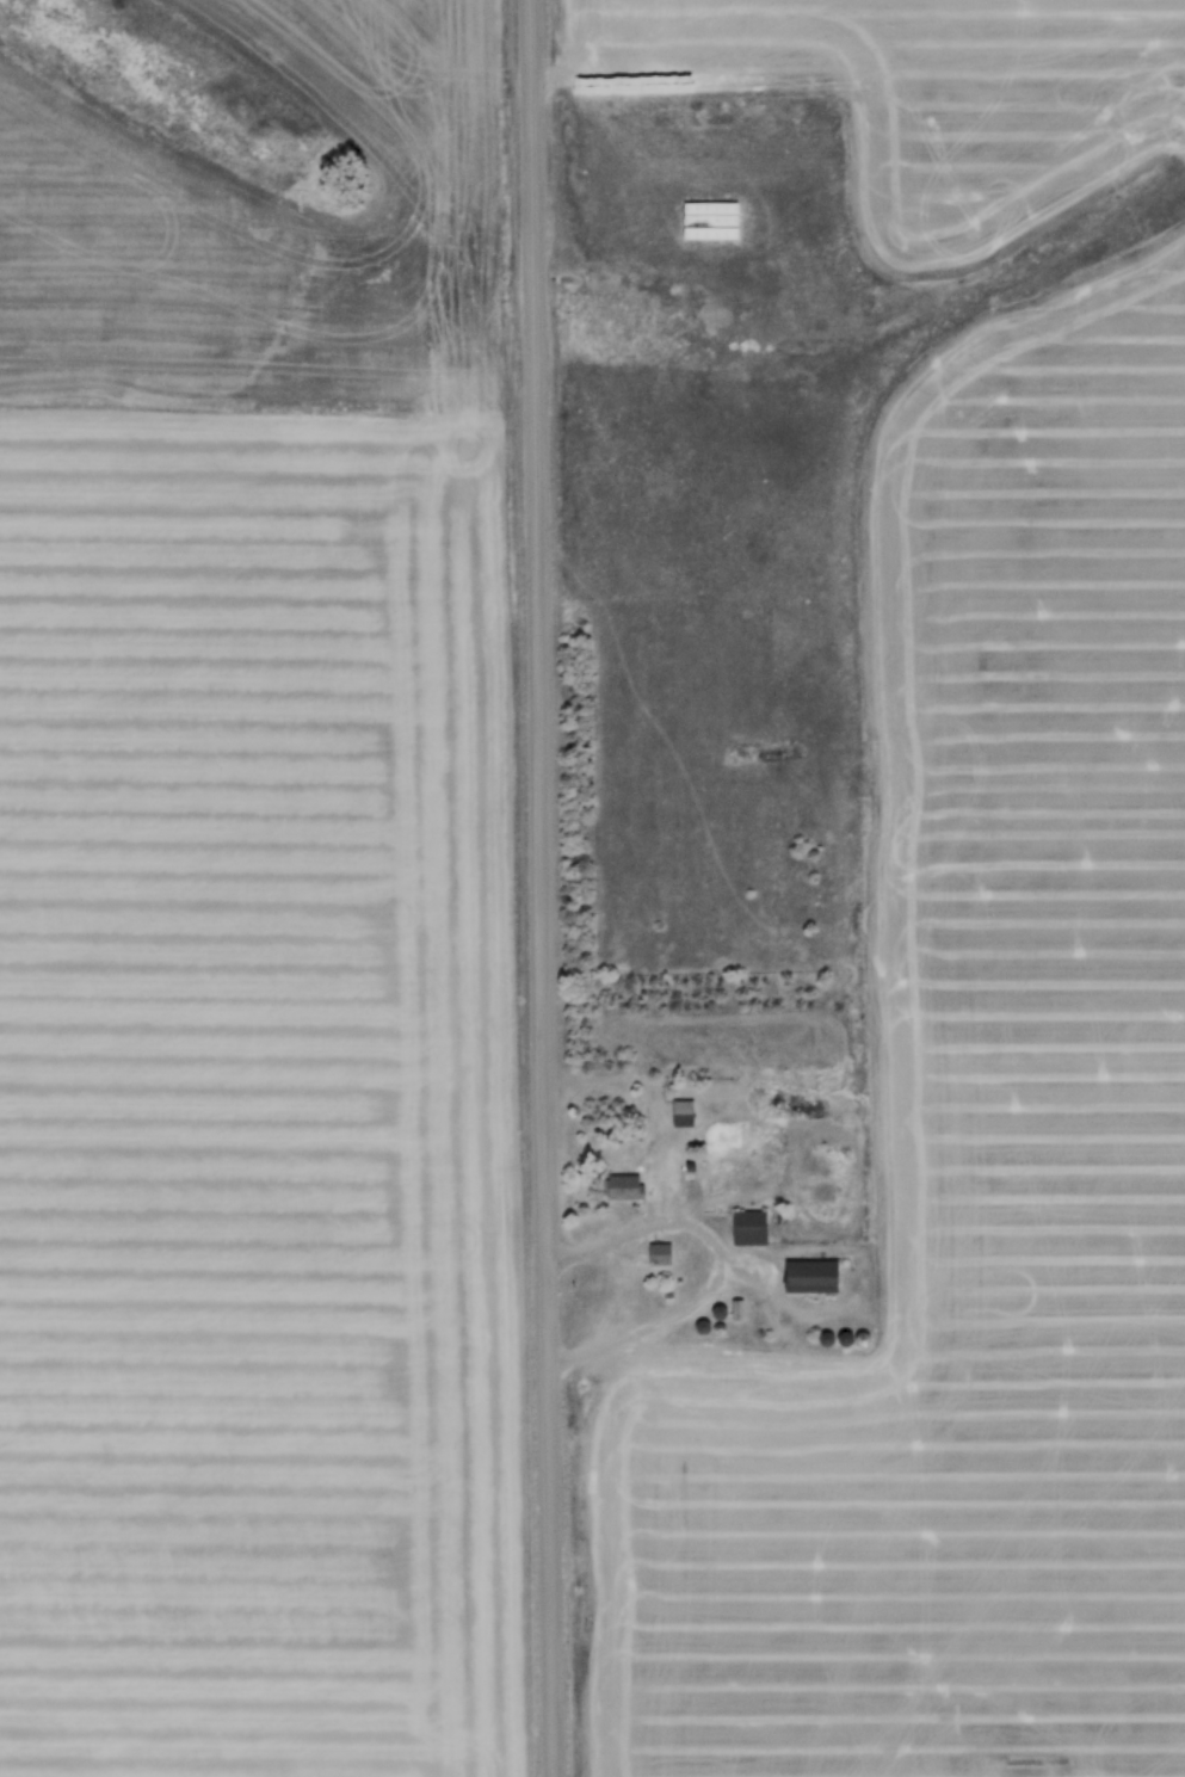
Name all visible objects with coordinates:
crop: (862, 45)
road: (541, 888)
crop: (257, 930)
building: (780, 1079)
building: (681, 1115)
building: (765, 1127)
building: (624, 1185)
road: (671, 1220)
building: (749, 1227)
building: (689, 1253)
building: (660, 1254)
building: (810, 1278)
building: (721, 1310)
silo: (721, 1310)
building: (704, 1326)
silo: (704, 1326)
building: (720, 1327)
silo: (720, 1327)
building: (827, 1337)
silo: (827, 1337)
building: (846, 1337)
silo: (846, 1337)
building: (868, 1337)
silo: (868, 1337)
crop: (922, 1446)

